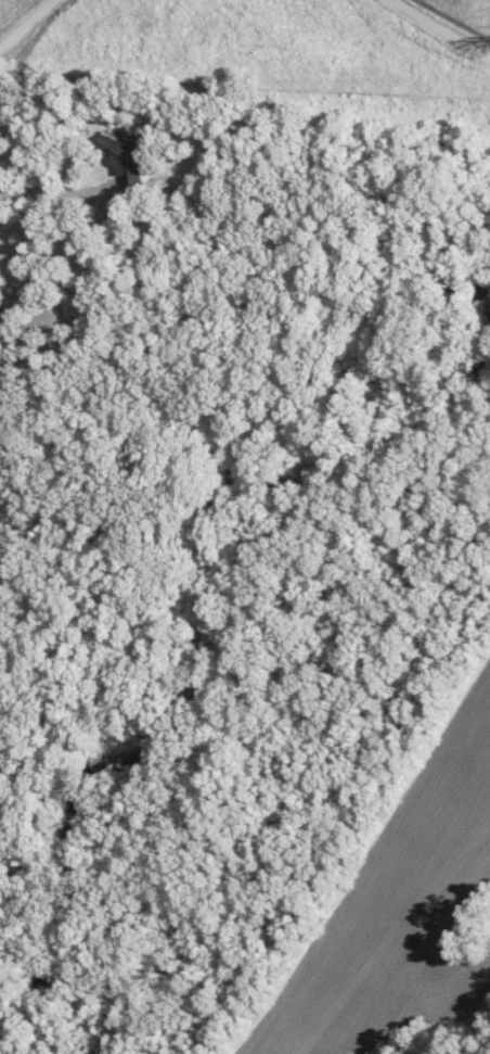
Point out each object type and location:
road: (28, 25)
road: (436, 31)
building: (134, 161)
road: (18, 209)

